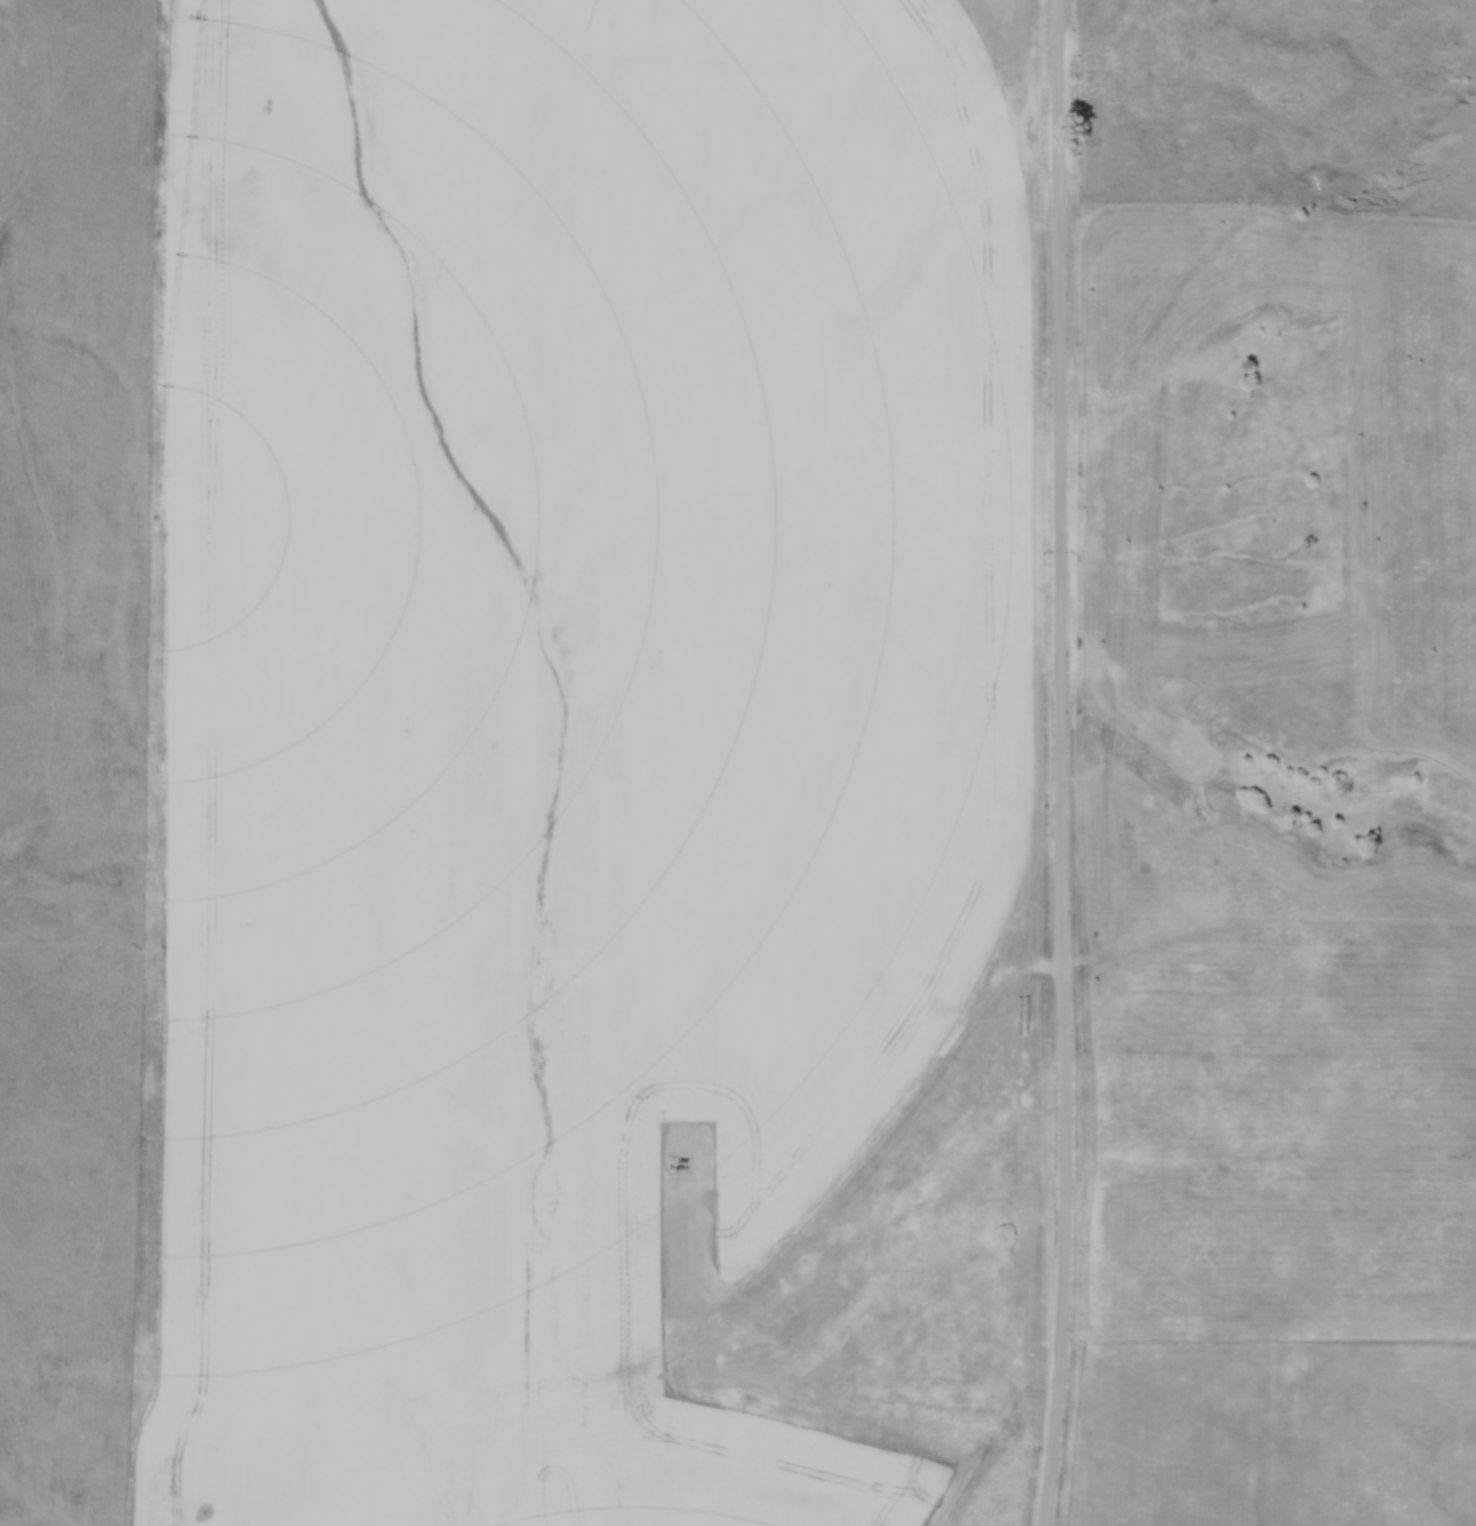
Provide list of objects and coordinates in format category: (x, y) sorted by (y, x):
road: (1063, 763)

